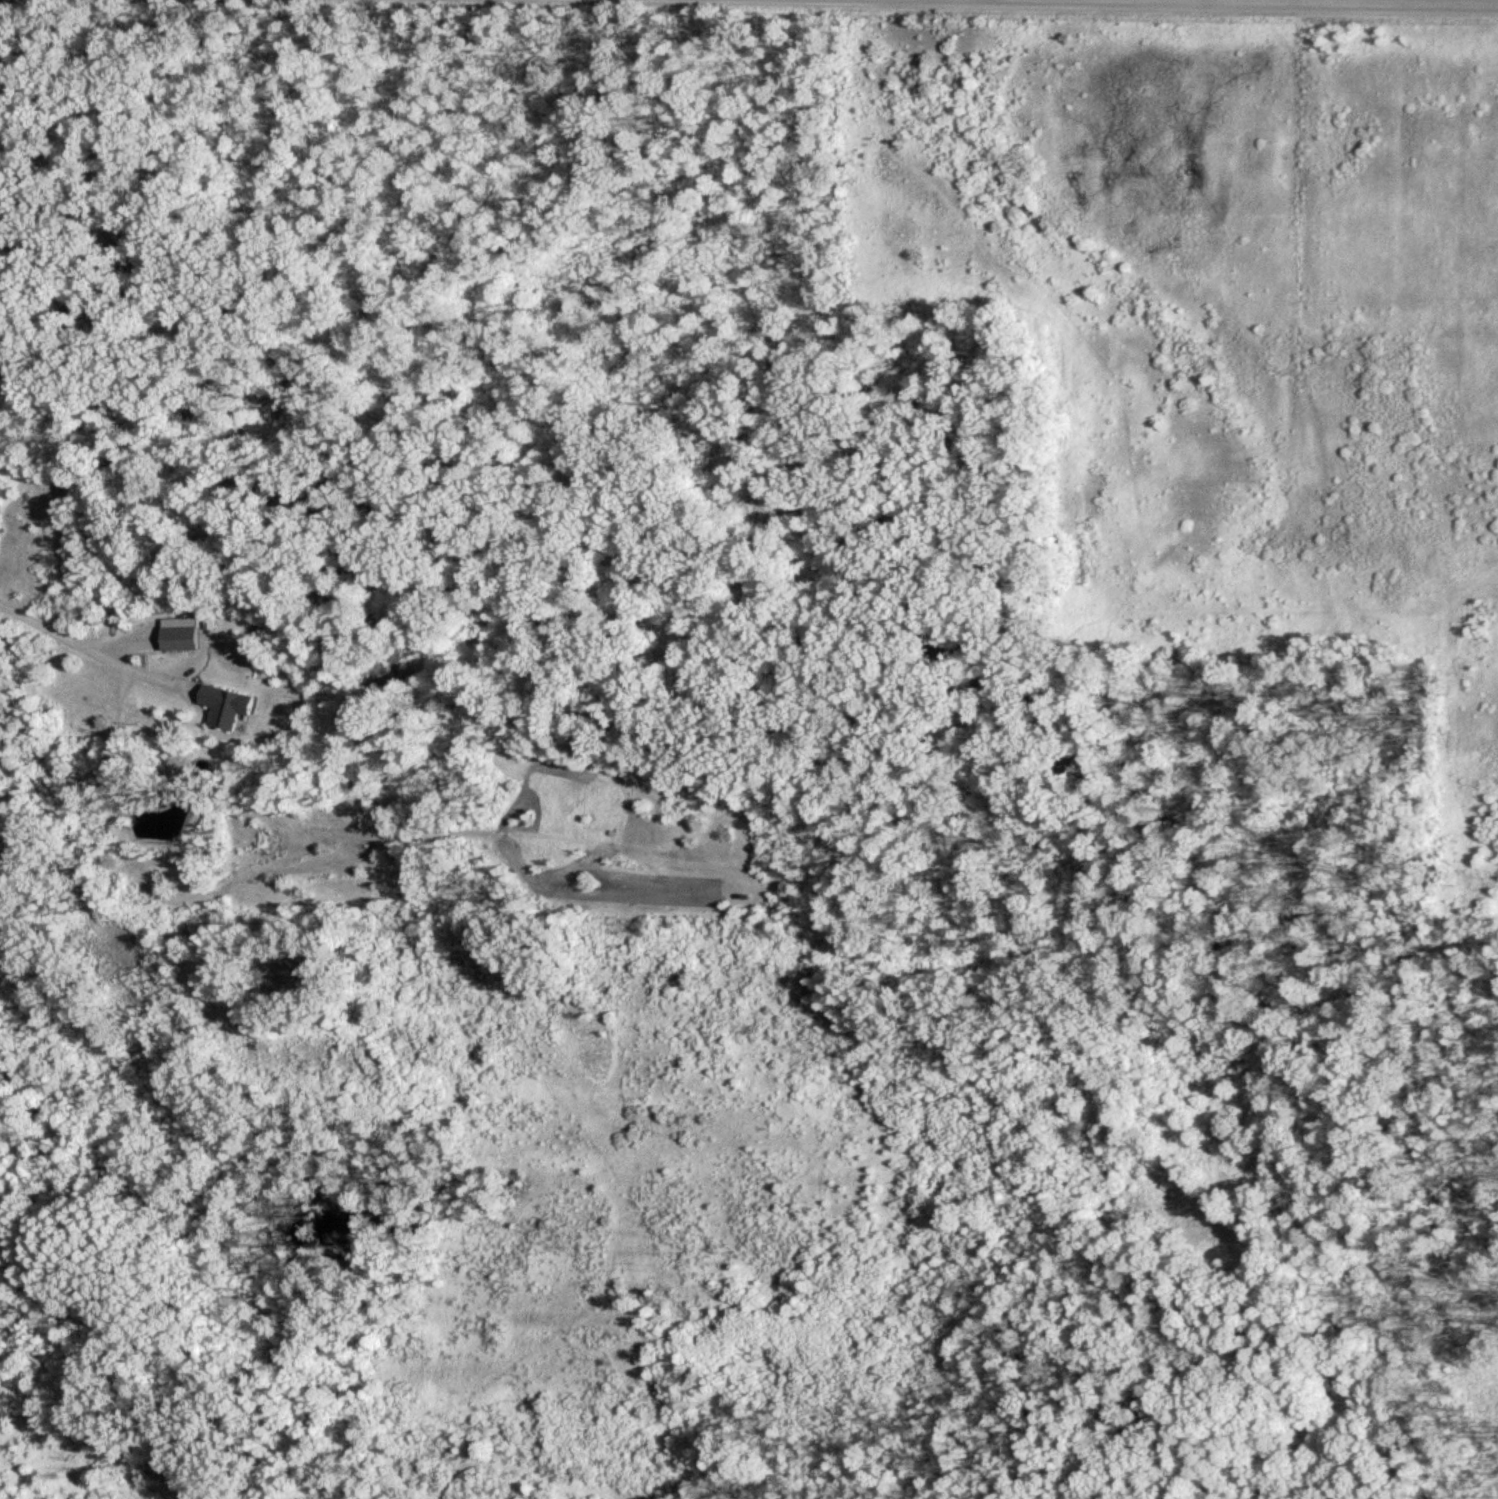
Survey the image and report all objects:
road: (1331, 1)
road: (61, 635)
building: (181, 639)

